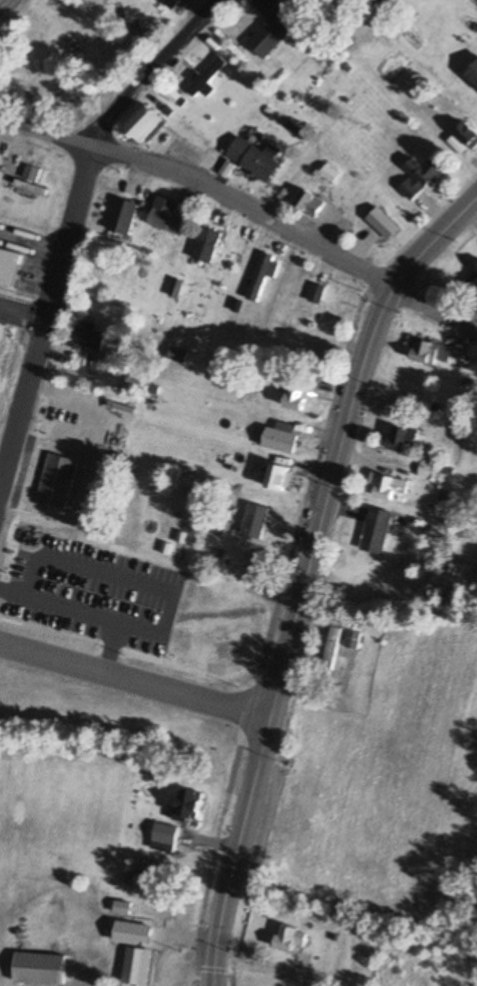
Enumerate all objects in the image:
building: (171, 3)
building: (270, 28)
building: (472, 73)
building: (207, 76)
building: (142, 122)
building: (466, 134)
building: (255, 158)
building: (32, 173)
building: (329, 173)
building: (420, 177)
building: (310, 203)
road: (312, 205)
road: (248, 208)
building: (167, 215)
building: (123, 216)
road: (70, 227)
building: (206, 245)
building: (9, 265)
building: (476, 270)
building: (261, 275)
building: (177, 288)
building: (475, 289)
building: (317, 293)
building: (0, 325)
building: (89, 336)
building: (431, 351)
building: (461, 352)
building: (177, 354)
building: (296, 395)
building: (405, 407)
building: (282, 436)
building: (402, 438)
building: (280, 477)
building: (58, 481)
building: (389, 487)
building: (263, 518)
building: (376, 527)
road: (309, 573)
road: (133, 577)
road: (79, 607)
road: (269, 639)
building: (353, 639)
building: (334, 641)
road: (136, 675)
building: (187, 805)
building: (165, 834)
building: (134, 879)
building: (54, 923)
building: (289, 938)
building: (37, 968)

